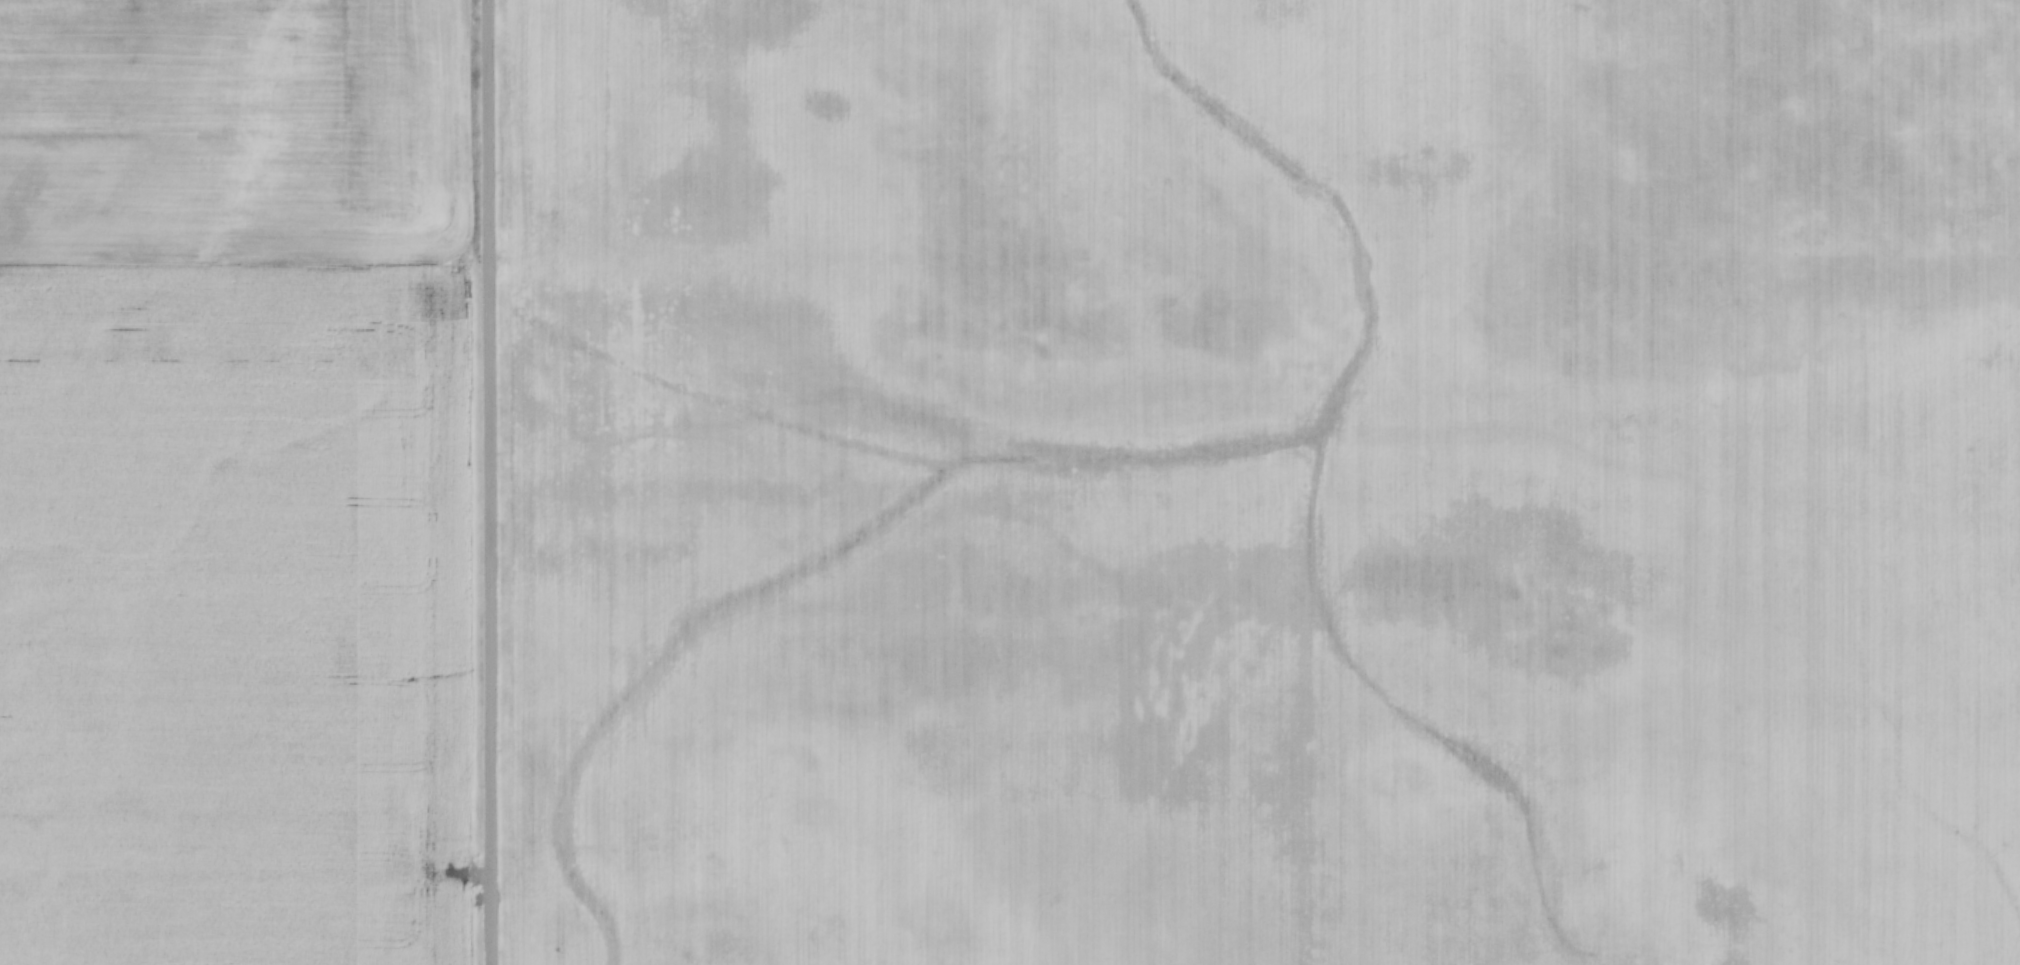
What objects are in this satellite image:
road: (492, 482)

